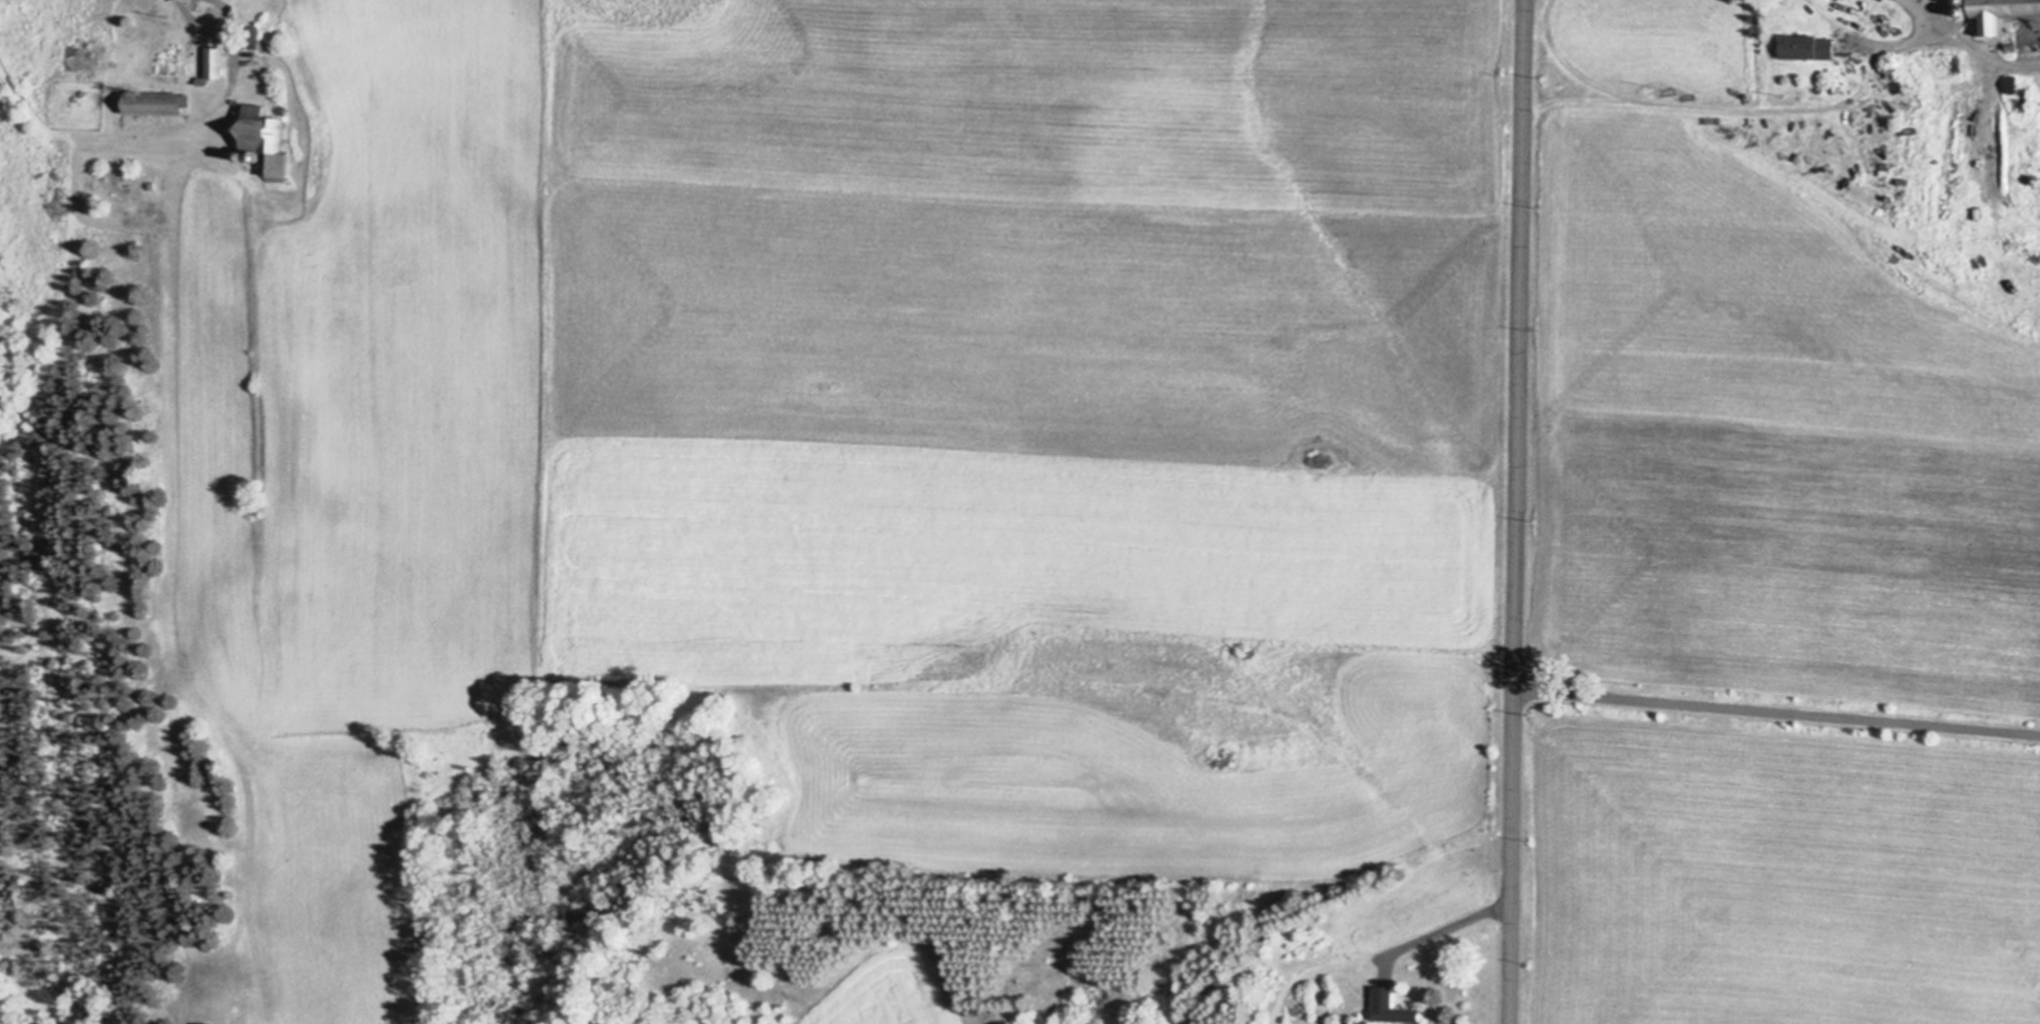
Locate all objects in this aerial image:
road: (1918, 17)
road: (213, 35)
road: (1515, 512)
road: (1776, 714)
road: (1446, 931)

